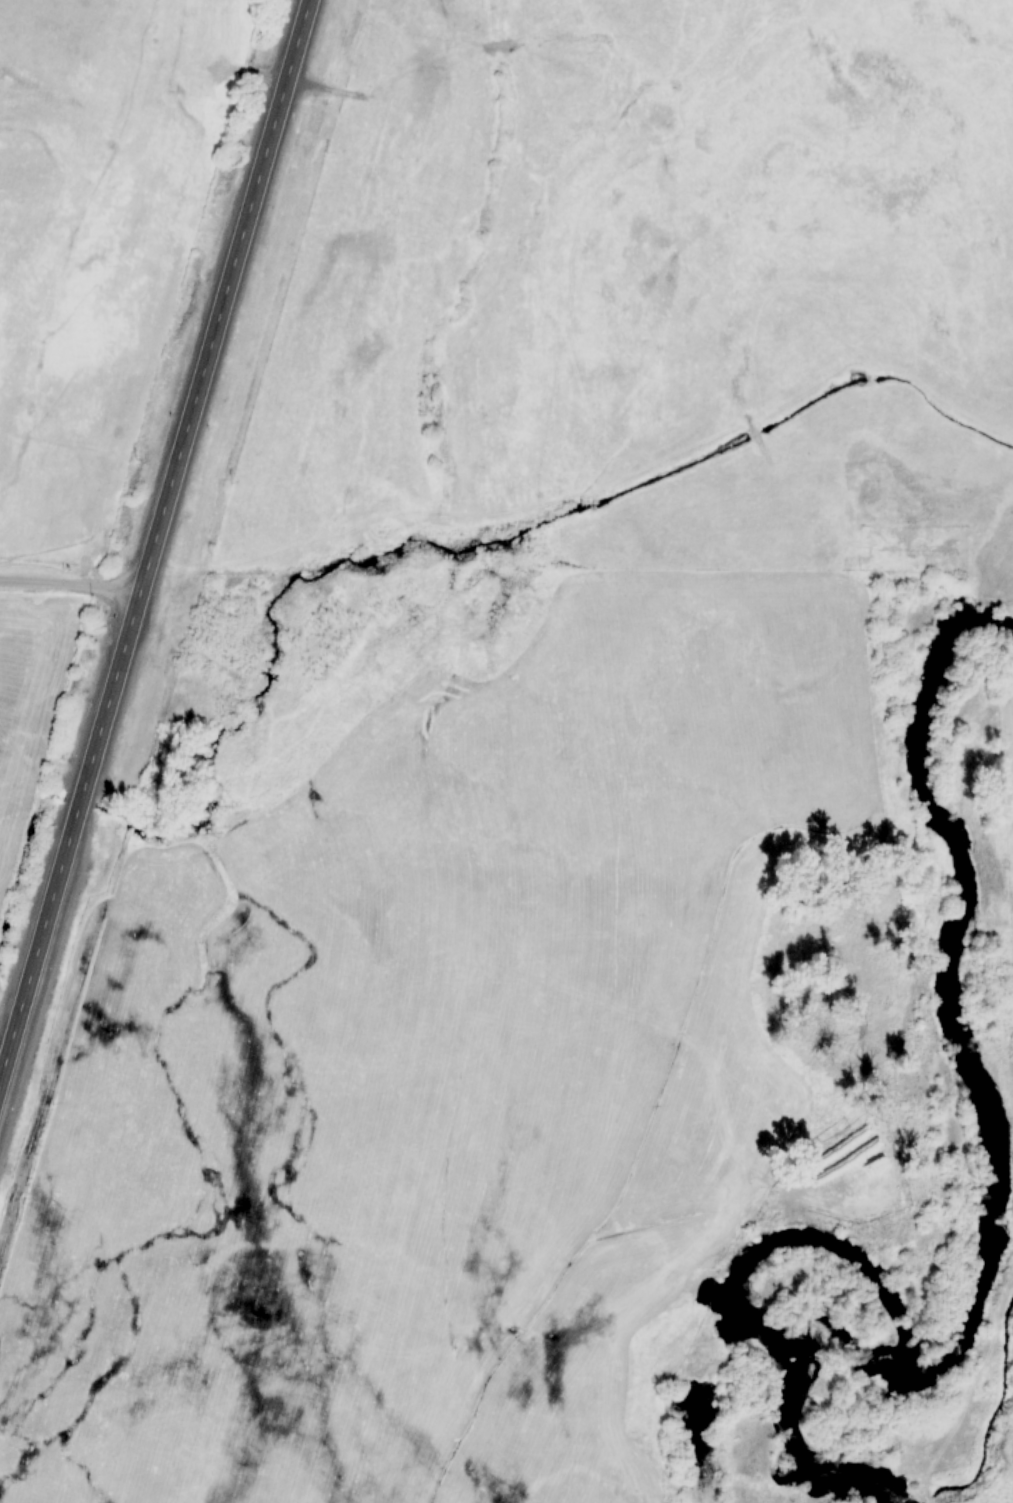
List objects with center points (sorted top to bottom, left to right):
road: (154, 538)
road: (69, 584)
river: (985, 1266)

